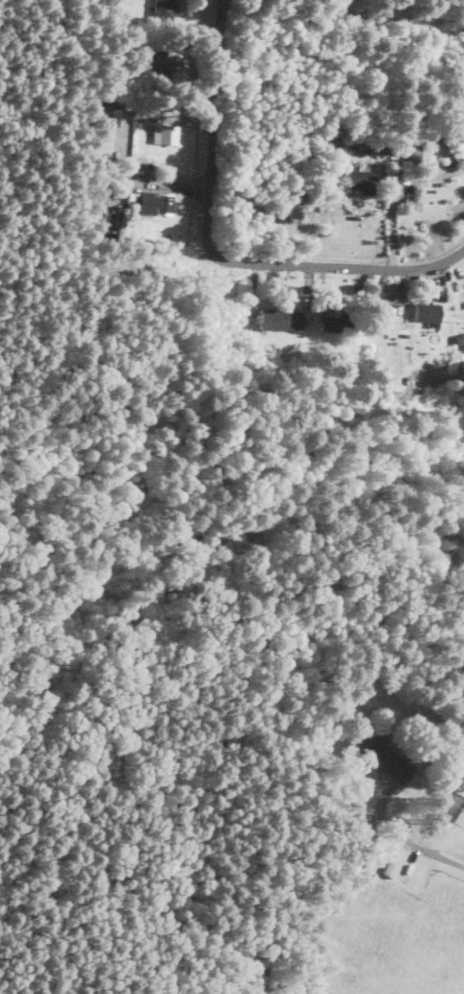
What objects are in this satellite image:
building: (162, 10)
road: (342, 14)
building: (139, 36)
building: (462, 56)
building: (165, 63)
building: (125, 87)
building: (105, 114)
road: (213, 125)
building: (164, 133)
building: (430, 152)
building: (324, 153)
road: (147, 179)
building: (360, 180)
building: (96, 183)
road: (395, 191)
building: (135, 197)
building: (407, 199)
building: (162, 203)
building: (291, 214)
road: (339, 263)
building: (388, 311)
building: (427, 311)
building: (284, 318)
building: (339, 323)
building: (459, 339)
building: (252, 347)
building: (277, 357)
crop: (213, 639)
building: (386, 758)
road: (410, 838)
building: (363, 863)
building: (390, 868)

